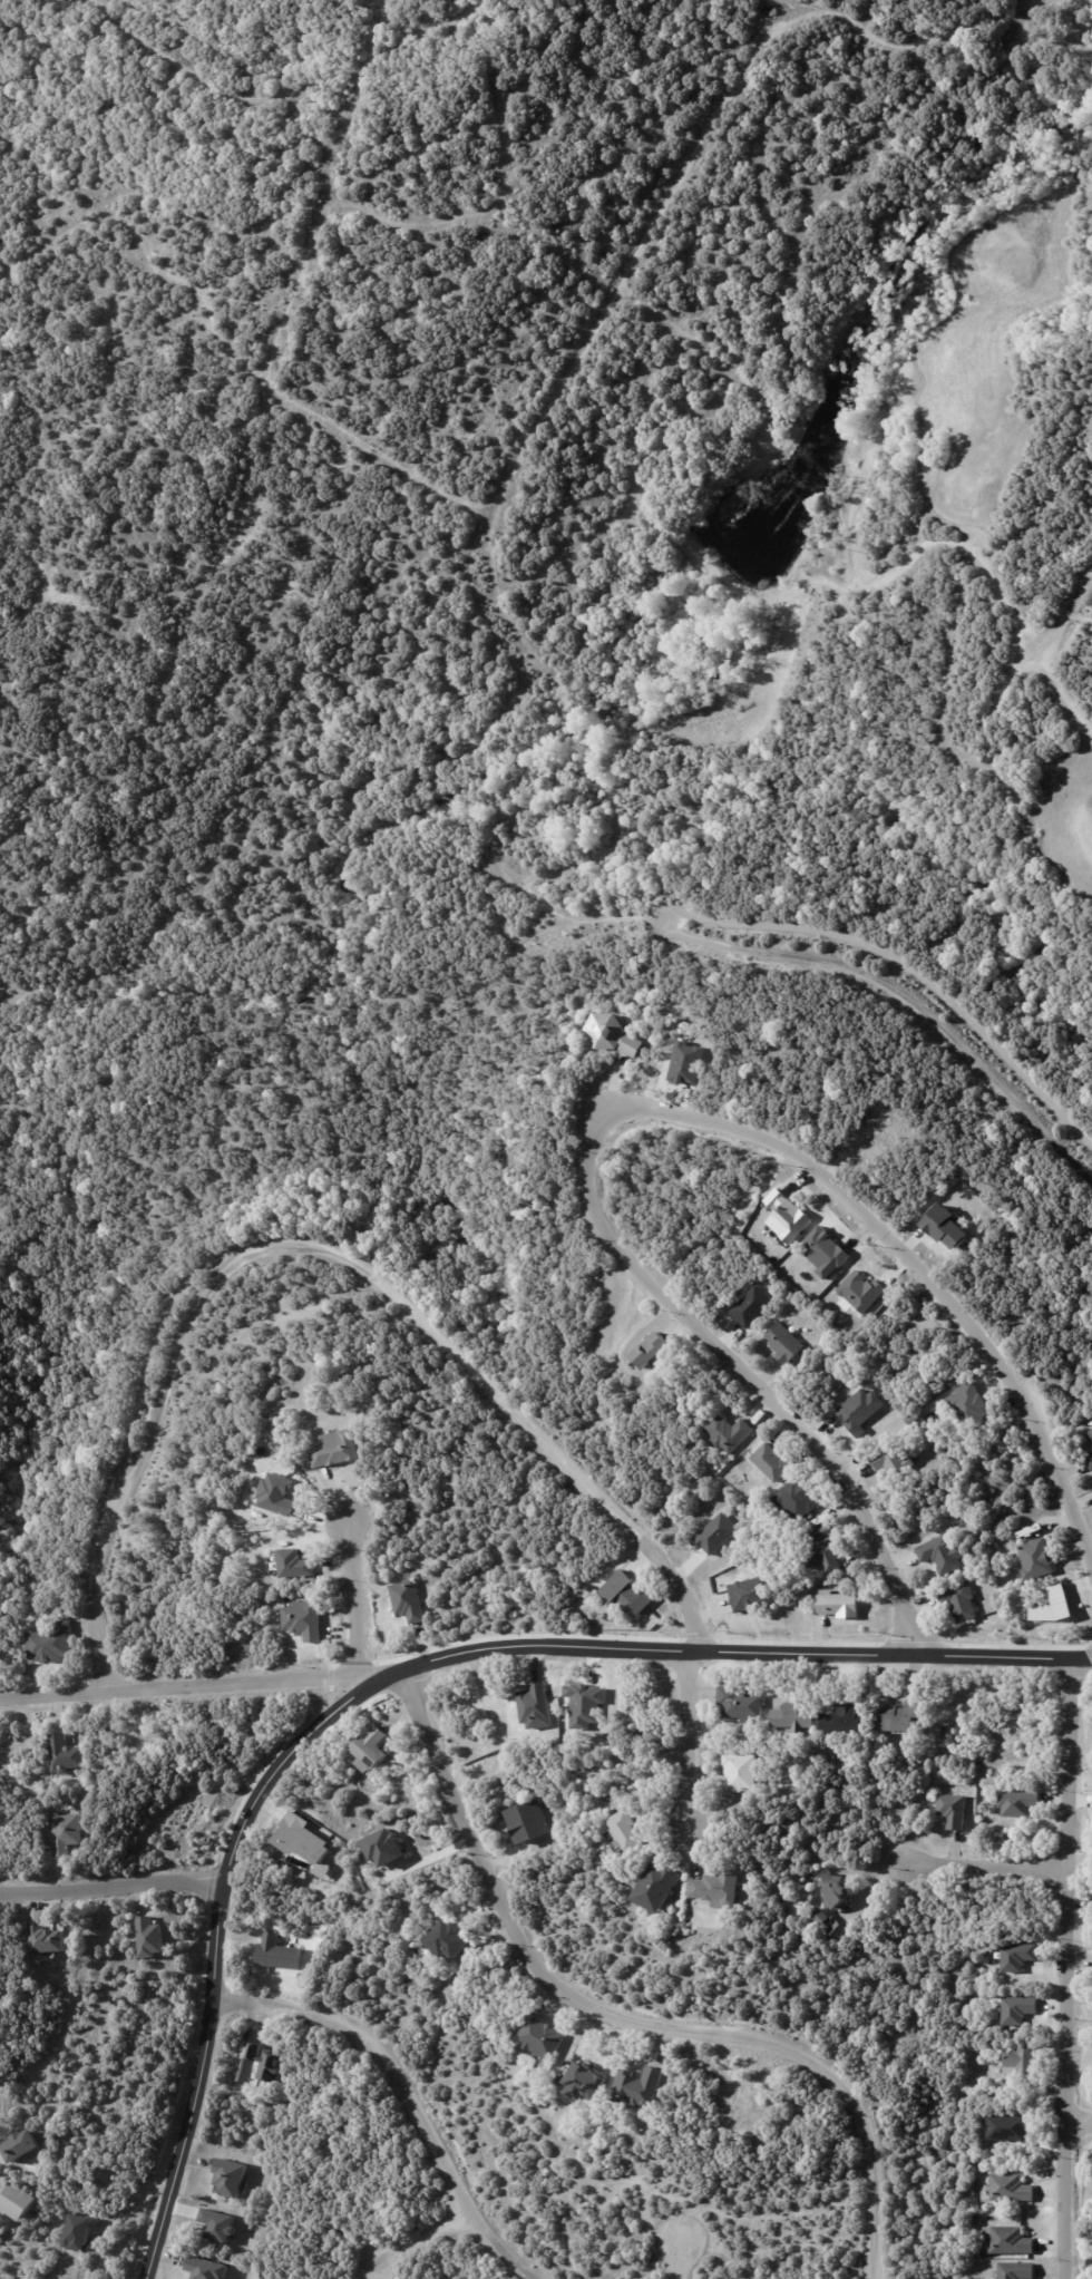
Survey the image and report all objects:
road: (1050, 582)
road: (546, 864)
building: (612, 1034)
road: (645, 1099)
building: (786, 1216)
building: (823, 1250)
road: (331, 1251)
building: (860, 1291)
building: (751, 1306)
building: (784, 1343)
building: (647, 1347)
building: (967, 1406)
building: (372, 1410)
building: (279, 1432)
building: (730, 1434)
building: (1090, 1434)
building: (338, 1450)
building: (890, 1458)
building: (1089, 1458)
building: (771, 1462)
building: (275, 1493)
building: (796, 1498)
building: (715, 1532)
building: (825, 1549)
building: (942, 1554)
building: (1035, 1559)
building: (296, 1566)
building: (988, 1567)
road: (358, 1581)
building: (624, 1593)
building: (750, 1595)
building: (959, 1600)
building: (410, 1601)
building: (838, 1604)
building: (302, 1619)
building: (53, 1645)
road: (404, 1673)
road: (201, 1686)
building: (741, 1704)
building: (536, 1706)
building: (794, 1715)
building: (898, 1715)
road: (699, 1742)
building: (370, 1749)
building: (69, 1756)
building: (740, 1772)
building: (589, 1795)
building: (1017, 1803)
building: (950, 1810)
building: (527, 1821)
building: (626, 1830)
building: (68, 1834)
building: (382, 1847)
road: (987, 1869)
building: (655, 1888)
road: (114, 1889)
building: (716, 1891)
building: (836, 1891)
building: (819, 1916)
building: (837, 1930)
building: (153, 1938)
building: (49, 1940)
building: (447, 1940)
building: (276, 1955)
building: (1017, 1956)
road: (1072, 1968)
building: (1020, 2009)
road: (628, 2022)
building: (542, 2038)
building: (1021, 2062)
building: (263, 2063)
building: (583, 2083)
building: (637, 2088)
road: (407, 2098)
building: (1005, 2126)
road: (1083, 2127)
building: (25, 2145)
building: (995, 2158)
building: (228, 2176)
building: (1008, 2188)
building: (19, 2199)
building: (978, 2217)
building: (80, 2234)
road: (419, 2239)
building: (1005, 2240)
building: (974, 2254)
building: (1008, 2257)
road: (683, 2258)
building: (205, 2269)
building: (1015, 2270)

